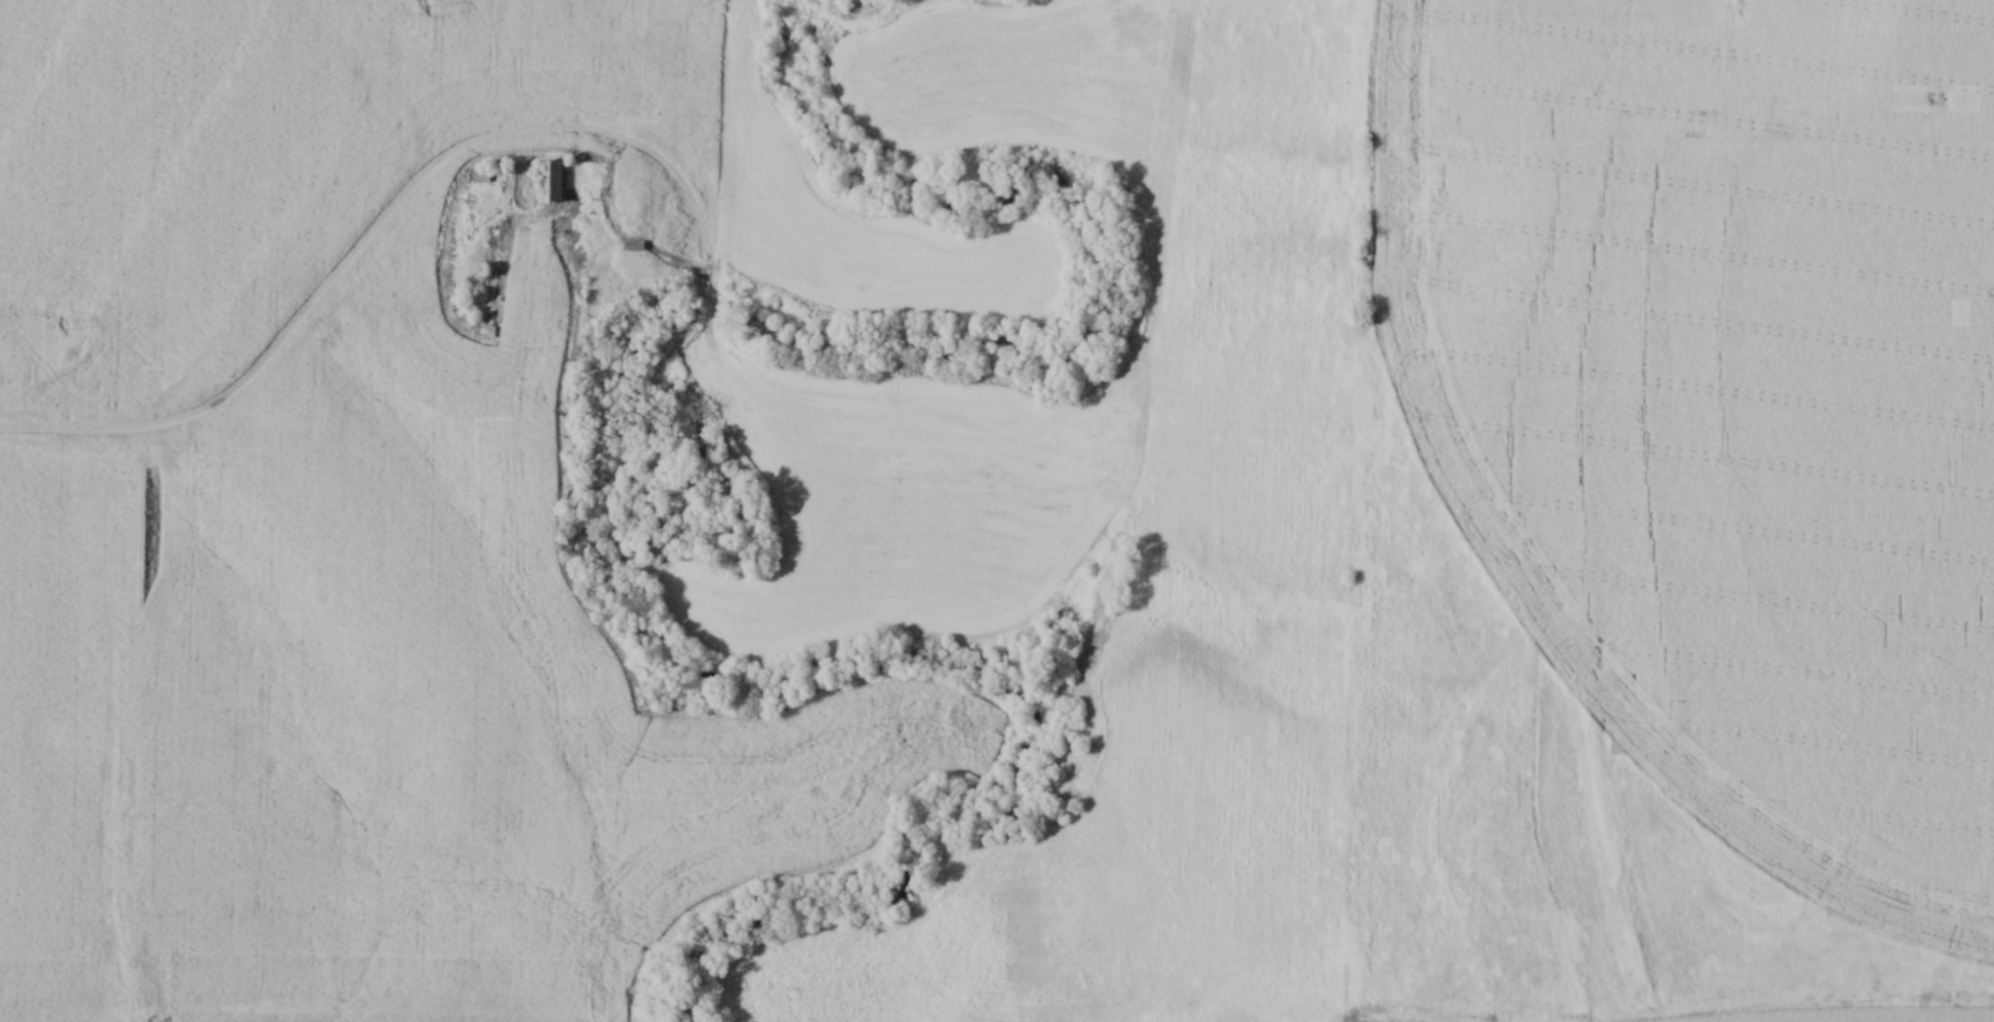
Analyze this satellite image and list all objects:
power tower: (424, 4)
building: (550, 182)
building: (632, 246)
power tower: (64, 327)
building: (470, 328)

